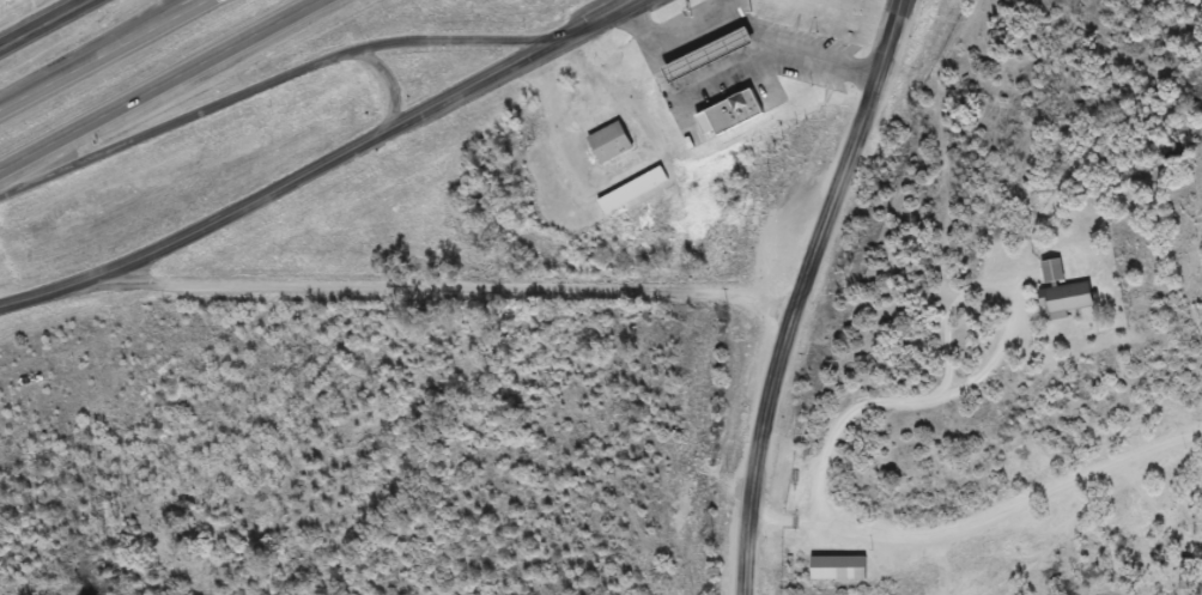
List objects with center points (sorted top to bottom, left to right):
road: (40, 13)
road: (608, 18)
road: (7, 31)
building: (711, 48)
gas station: (711, 48)
road: (87, 50)
road: (104, 55)
building: (714, 56)
road: (279, 80)
road: (390, 81)
road: (160, 85)
building: (734, 107)
building: (613, 144)
road: (292, 183)
building: (635, 192)
building: (1055, 272)
road: (443, 291)
road: (803, 292)
building: (1069, 299)
building: (842, 569)

